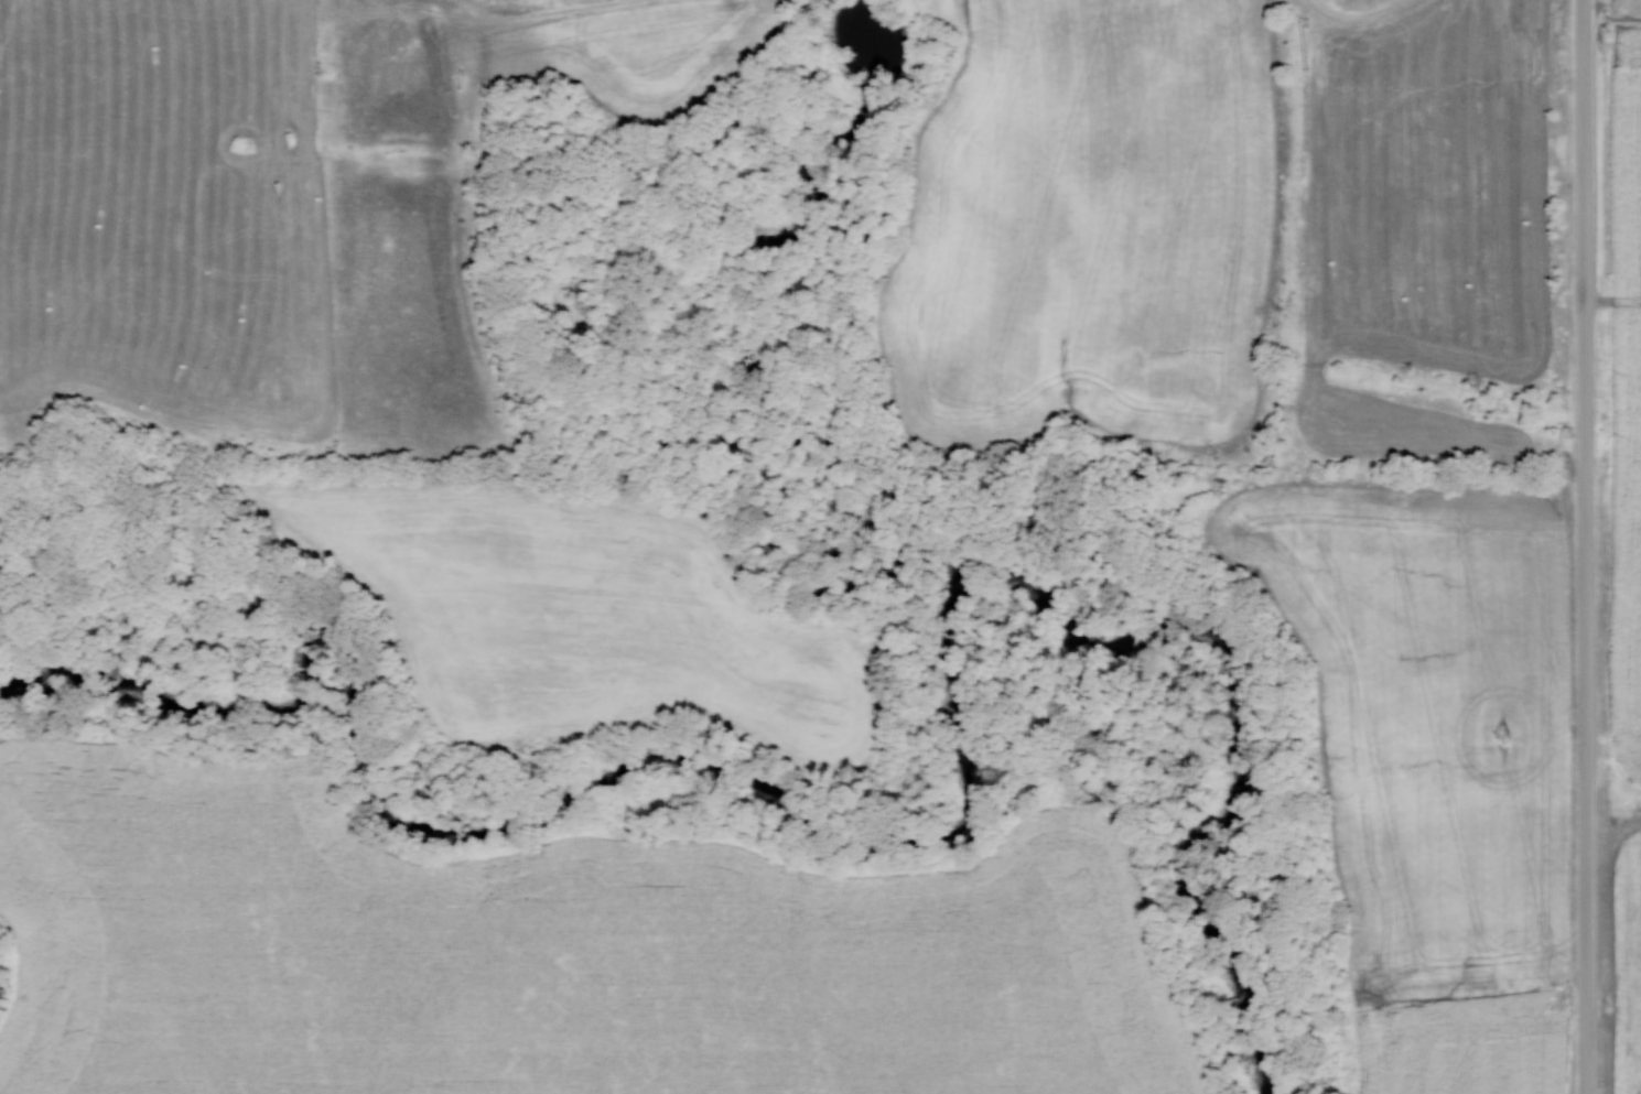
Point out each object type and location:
road: (1589, 546)

